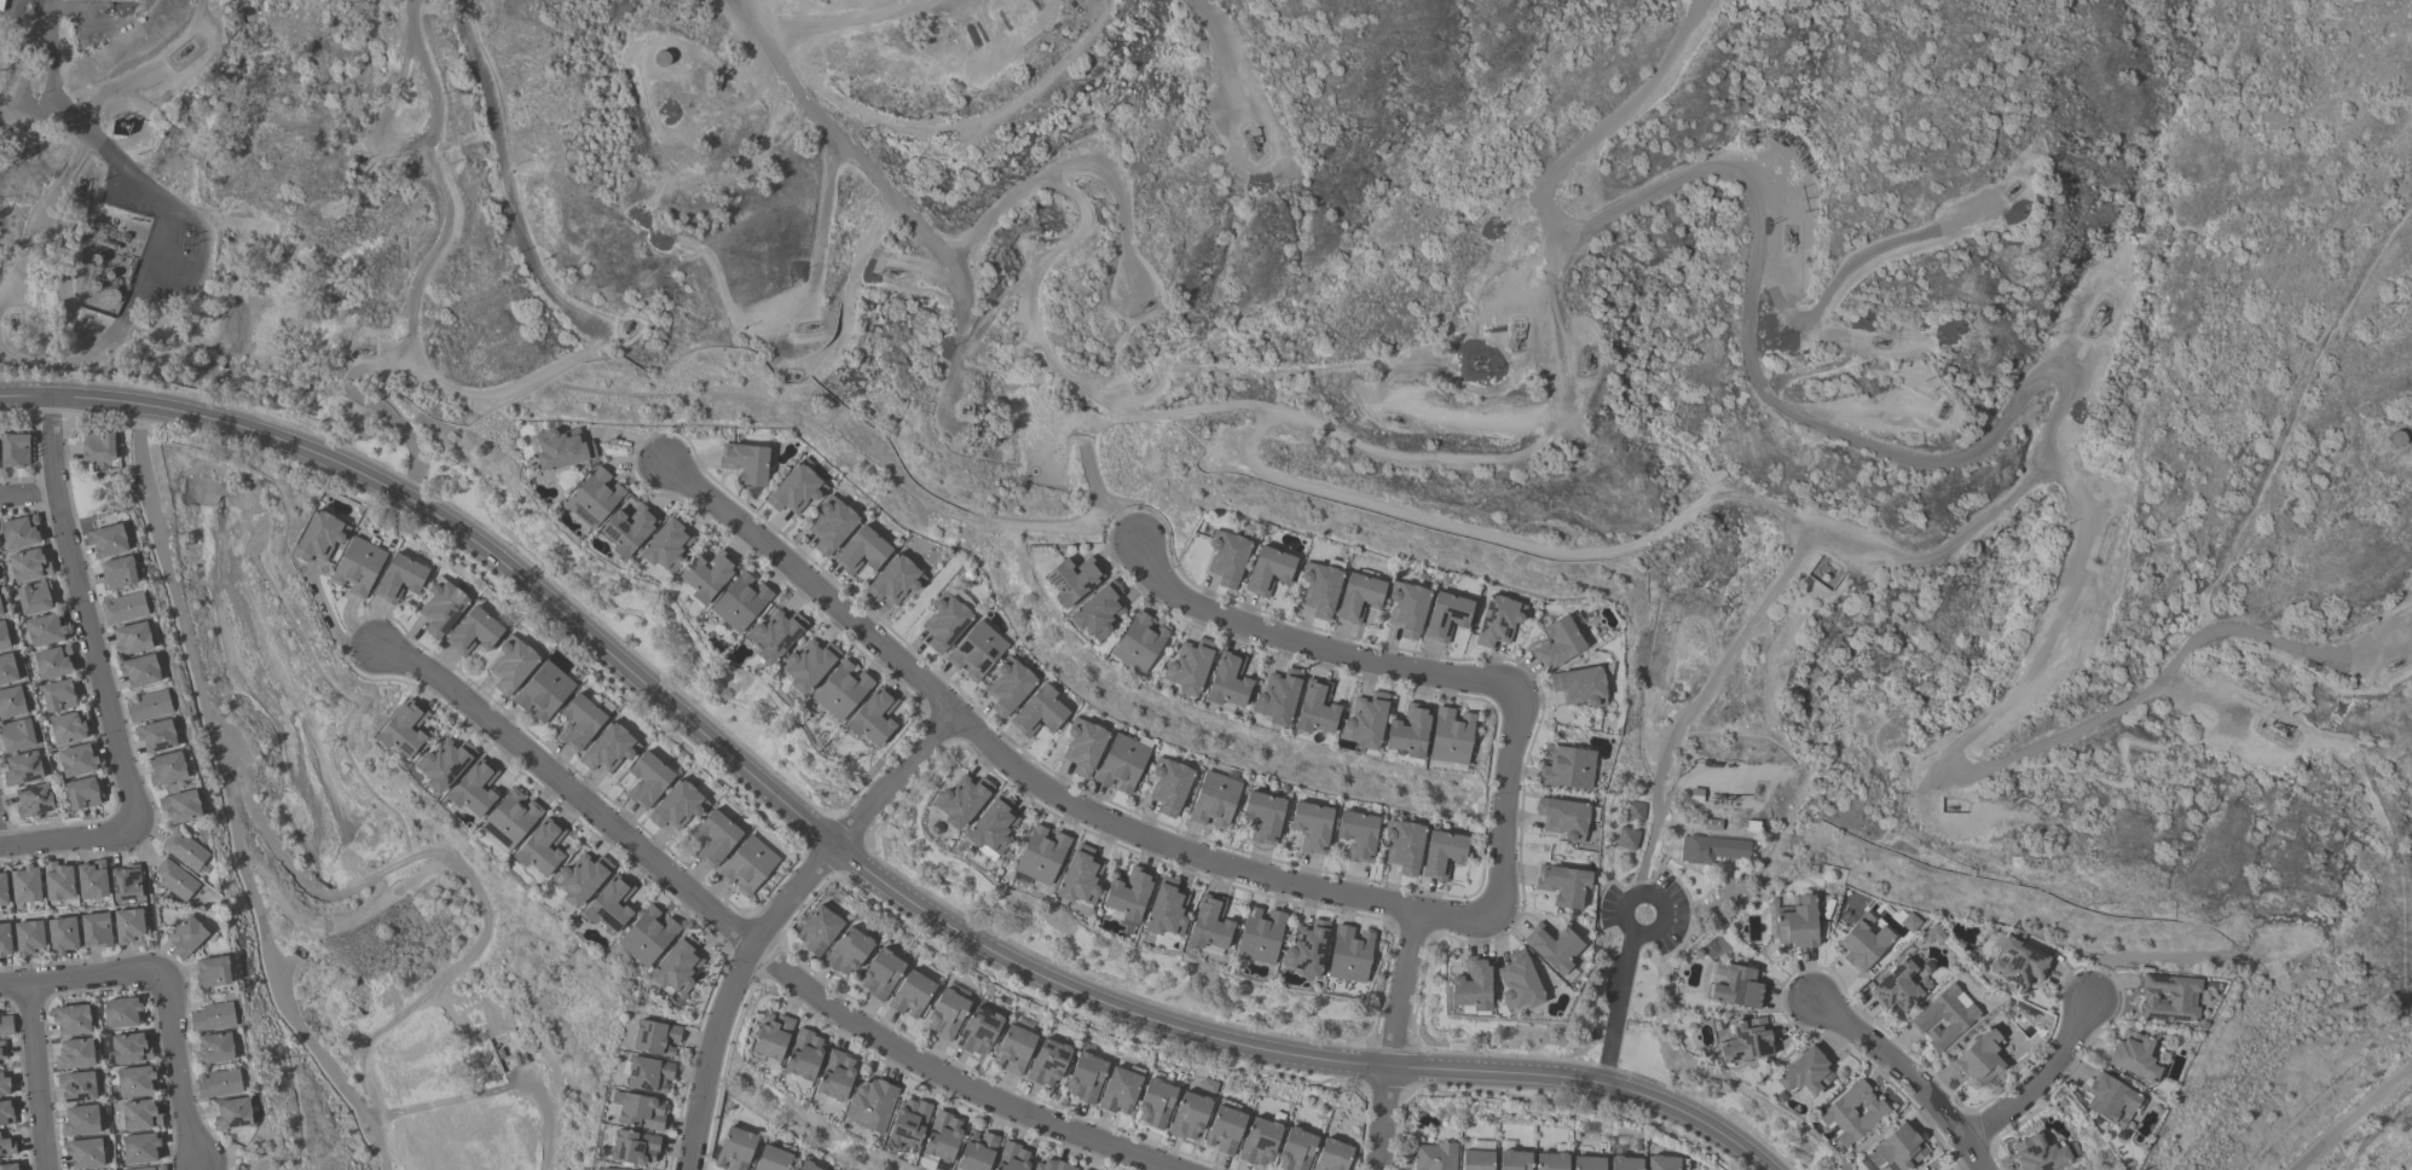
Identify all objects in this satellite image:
building: (123, 0)
building: (1, 5)
petroleum well: (387, 21)
petroleum well: (181, 51)
building: (661, 60)
storage tank: (661, 60)
road: (1238, 77)
petroleum well: (1251, 141)
road: (123, 167)
road: (1074, 170)
road: (446, 181)
road: (504, 183)
petroleum well: (2009, 187)
road: (895, 198)
petroleum well: (1788, 234)
road: (821, 242)
road: (53, 253)
road: (1849, 268)
road: (851, 289)
petroleum well: (1145, 303)
road: (1519, 311)
petroleum well: (2098, 312)
road: (1031, 317)
road: (2083, 318)
petroleum well: (15, 323)
petroleum well: (629, 326)
petroleum well: (812, 326)
petroleum well: (1515, 335)
road: (1567, 338)
petroleum well: (1878, 341)
petroleum well: (359, 352)
petroleum well: (1584, 358)
petroleum well: (792, 375)
road: (510, 383)
road: (357, 398)
road: (1555, 402)
building: (98, 446)
building: (560, 448)
building: (13, 450)
building: (746, 463)
road: (1953, 464)
road: (413, 482)
road: (1094, 487)
building: (796, 490)
road: (28, 496)
building: (594, 497)
road: (964, 520)
road: (1434, 523)
building: (831, 526)
building: (626, 531)
building: (19, 532)
building: (319, 537)
building: (106, 540)
building: (665, 543)
building: (861, 551)
building: (1221, 562)
building: (28, 564)
building: (357, 567)
building: (118, 572)
building: (1262, 574)
building: (706, 577)
building: (399, 578)
building: (893, 580)
building: (1071, 580)
building: (34, 597)
building: (1361, 601)
building: (740, 602)
building: (441, 607)
building: (122, 608)
building: (1097, 610)
building: (0, 612)
building: (1410, 613)
road: (87, 615)
building: (1448, 619)
building: (944, 624)
building: (1498, 625)
building: (45, 630)
building: (474, 632)
building: (774, 635)
building: (2, 637)
building: (131, 638)
building: (1138, 642)
road: (1307, 644)
building: (1562, 645)
building: (976, 651)
building: (52, 662)
building: (511, 664)
petroleum well: (2394, 664)
building: (808, 665)
building: (7, 668)
building: (139, 670)
building: (1186, 671)
building: (1010, 689)
building: (1222, 689)
building: (1581, 689)
building: (840, 690)
building: (543, 691)
building: (57, 695)
building: (11, 702)
building: (146, 706)
building: (1039, 712)
building: (1309, 717)
road: (1870, 717)
building: (873, 718)
road: (2214, 718)
building: (579, 722)
building: (1369, 723)
building: (68, 728)
petroleum well: (2274, 728)
building: (403, 730)
building: (1413, 732)
building: (18, 734)
building: (155, 736)
building: (1456, 737)
building: (1083, 746)
road: (2164, 748)
building: (607, 749)
road: (2015, 758)
road: (1816, 759)
building: (76, 760)
building: (1121, 764)
building: (443, 765)
building: (166, 768)
building: (1569, 768)
building: (22, 769)
road: (1029, 778)
building: (647, 780)
building: (1164, 784)
building: (473, 788)
building: (81, 793)
building: (33, 800)
building: (961, 800)
building: (1210, 800)
road: (230, 801)
building: (180, 806)
building: (676, 806)
road: (1505, 806)
building: (1636, 813)
building: (510, 818)
building: (1259, 818)
building: (1568, 819)
building: (991, 826)
building: (1306, 826)
building: (716, 838)
building: (1360, 838)
road: (66, 840)
building: (1627, 840)
building: (539, 848)
building: (1407, 848)
building: (185, 851)
building: (1713, 852)
building: (1040, 855)
road: (848, 856)
building: (1446, 856)
building: (746, 865)
building: (1078, 876)
building: (174, 879)
building: (580, 879)
building: (91, 880)
building: (58, 881)
building: (125, 884)
building: (24, 885)
building: (1568, 886)
building: (2, 890)
road: (1735, 891)
building: (1127, 894)
road: (1635, 899)
building: (609, 904)
building: (1162, 905)
road: (1598, 909)
road: (776, 915)
flagpole: (1643, 917)
building: (1803, 926)
building: (128, 927)
building: (94, 929)
building: (817, 929)
building: (62, 934)
building: (185, 936)
building: (647, 936)
building: (1204, 936)
building: (28, 938)
building: (4, 939)
road: (752, 943)
building: (1256, 944)
building: (1868, 944)
building: (1560, 949)
building: (846, 950)
building: (1354, 956)
building: (2021, 965)
building: (676, 966)
building: (212, 972)
building: (879, 974)
road: (80, 978)
building: (1525, 983)
building: (1479, 986)
building: (1742, 989)
building: (1907, 990)
building: (910, 994)
building: (2175, 1000)
road: (1620, 1009)
building: (121, 1012)
building: (945, 1014)
building: (210, 1016)
building: (70, 1019)
building: (1949, 1019)
building: (5, 1025)
building: (978, 1031)
building: (771, 1037)
building: (655, 1038)
road: (1394, 1038)
building: (1752, 1043)
building: (128, 1048)
building: (213, 1048)
building: (1013, 1049)
building: (1, 1050)
building: (74, 1053)
building: (803, 1054)
building: (2142, 1058)
building: (1986, 1060)
building: (1047, 1062)
road: (179, 1071)
building: (648, 1075)
building: (834, 1076)
building: (1812, 1076)
road: (36, 1077)
building: (1084, 1077)
road: (1909, 1077)
building: (134, 1081)
road: (2042, 1081)
building: (4, 1083)
building: (218, 1083)
building: (76, 1085)
building: (1118, 1090)
road: (1683, 1096)
building: (869, 1104)
building: (1155, 1104)
building: (2118, 1104)
building: (640, 1112)
road: (2346, 1112)
building: (5, 1113)
building: (232, 1113)
building: (139, 1114)
building: (1859, 1114)
building: (1186, 1119)
building: (80, 1120)
building: (908, 1122)
building: (941, 1137)
building: (1236, 1139)
building: (6, 1145)
building: (139, 1147)
building: (634, 1147)
building: (734, 1149)
building: (976, 1151)
building: (1902, 1152)
building: (85, 1153)
building: (1301, 1154)
building: (2044, 1155)
building: (1012, 1157)
building: (1439, 1158)
building: (771, 1159)
building: (1481, 1160)
building: (1519, 1162)
building: (1555, 1163)
building: (1591, 1164)
building: (1629, 1164)
building: (1665, 1164)
building: (1048, 1165)
building: (8, 1166)
building: (806, 1166)
building: (145, 1168)
building: (609, 1169)

